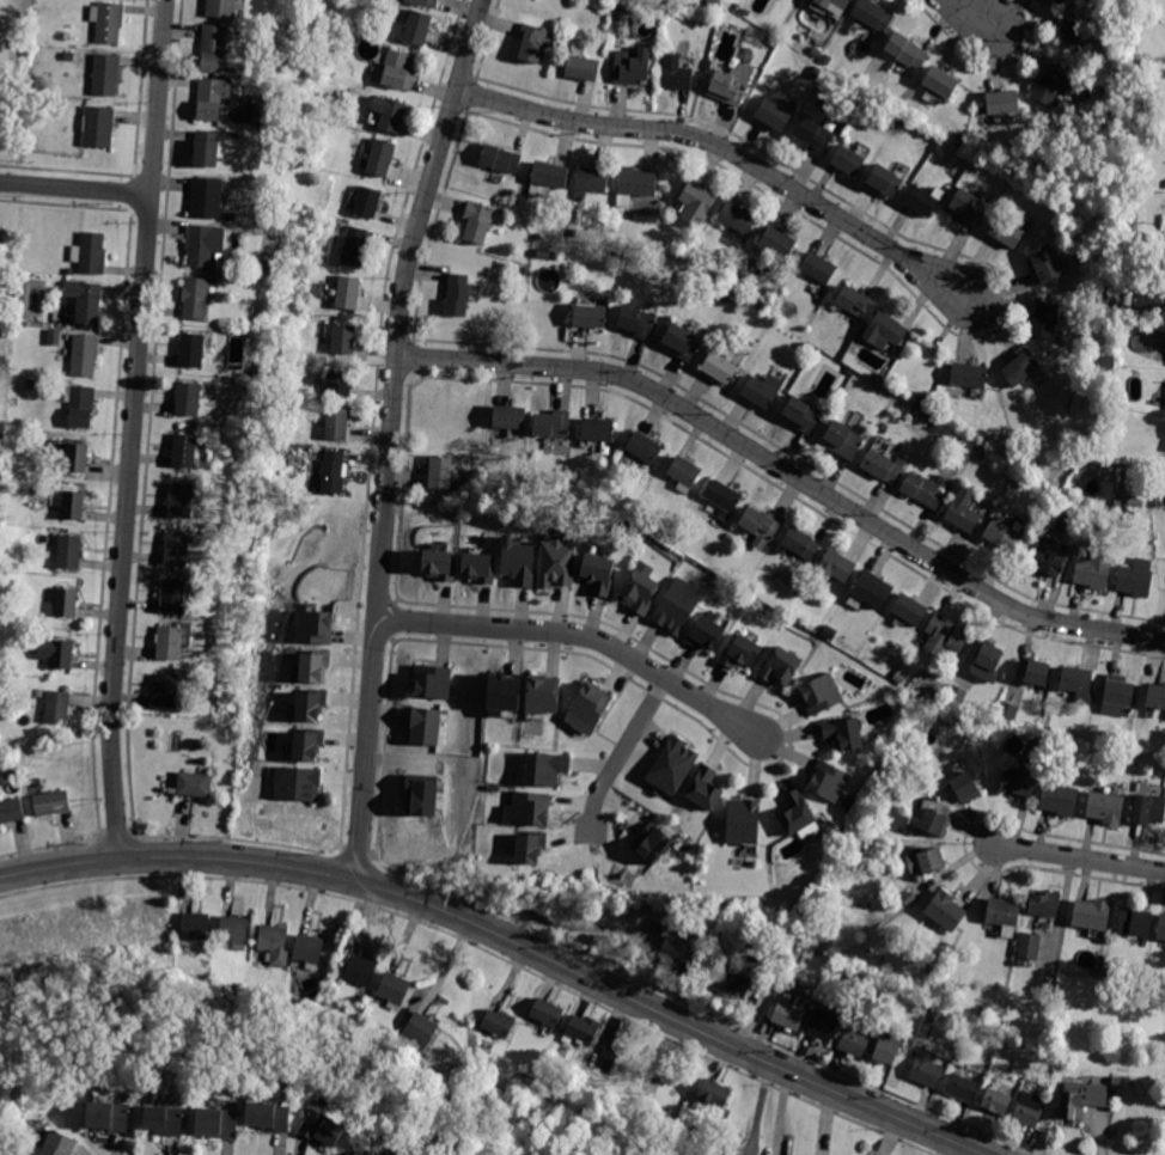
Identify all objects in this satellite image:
building: (1060, 1)
building: (426, 2)
building: (714, 2)
building: (834, 4)
building: (221, 8)
building: (657, 11)
road: (968, 12)
building: (873, 17)
building: (110, 22)
building: (706, 22)
building: (417, 29)
building: (1071, 35)
building: (532, 43)
building: (338, 48)
building: (213, 49)
building: (905, 50)
building: (816, 51)
building: (745, 55)
building: (77, 57)
building: (827, 59)
building: (633, 67)
building: (582, 68)
building: (396, 71)
building: (106, 74)
building: (676, 74)
building: (940, 81)
building: (731, 84)
building: (1050, 84)
building: (1118, 97)
building: (212, 98)
building: (1002, 103)
building: (60, 108)
building: (12, 111)
building: (392, 115)
building: (774, 115)
building: (98, 127)
building: (815, 136)
building: (211, 149)
road: (728, 149)
building: (380, 158)
building: (500, 159)
building: (848, 160)
building: (550, 175)
building: (885, 181)
building: (590, 182)
building: (635, 185)
road: (74, 189)
building: (206, 198)
building: (367, 202)
building: (922, 202)
building: (696, 203)
building: (970, 207)
building: (231, 216)
building: (738, 218)
building: (477, 221)
building: (1133, 226)
building: (1007, 230)
building: (573, 234)
building: (538, 237)
building: (777, 244)
building: (206, 246)
building: (354, 246)
building: (91, 253)
building: (541, 253)
building: (682, 256)
building: (1044, 264)
building: (819, 267)
building: (243, 270)
building: (266, 270)
building: (525, 270)
building: (69, 271)
building: (721, 279)
building: (348, 292)
building: (458, 295)
building: (195, 298)
building: (1127, 299)
building: (725, 300)
building: (853, 300)
building: (86, 301)
building: (738, 307)
building: (590, 316)
building: (1044, 319)
building: (638, 322)
building: (4, 328)
building: (885, 329)
building: (343, 340)
building: (683, 341)
building: (807, 348)
building: (193, 350)
building: (85, 354)
building: (923, 360)
building: (1020, 366)
building: (719, 367)
building: (257, 374)
building: (969, 375)
building: (340, 381)
building: (32, 384)
building: (763, 390)
building: (188, 399)
building: (80, 405)
building: (803, 415)
building: (510, 417)
building: (336, 424)
building: (553, 424)
road: (132, 428)
building: (598, 430)
road: (390, 434)
building: (844, 439)
building: (1, 440)
building: (644, 447)
building: (184, 451)
building: (982, 456)
building: (78, 458)
building: (964, 459)
building: (1018, 464)
building: (882, 466)
building: (1036, 469)
building: (333, 472)
road: (787, 472)
building: (440, 473)
building: (684, 473)
building: (1023, 482)
building: (922, 490)
building: (724, 497)
building: (181, 501)
building: (1136, 501)
building: (1118, 502)
building: (74, 506)
building: (963, 511)
building: (762, 526)
building: (730, 537)
building: (1002, 537)
building: (801, 543)
building: (177, 549)
building: (69, 552)
building: (1048, 557)
building: (518, 561)
building: (437, 562)
building: (556, 562)
building: (477, 566)
building: (835, 568)
building: (1094, 569)
building: (597, 573)
building: (1136, 577)
building: (797, 582)
building: (640, 589)
building: (871, 589)
building: (176, 597)
building: (66, 603)
building: (678, 606)
building: (910, 610)
building: (315, 627)
building: (706, 630)
building: (945, 635)
road: (581, 636)
building: (170, 643)
building: (740, 650)
building: (57, 653)
building: (987, 662)
building: (313, 666)
building: (781, 667)
building: (1037, 673)
building: (898, 677)
building: (433, 682)
building: (1078, 683)
building: (166, 691)
building: (41, 693)
building: (502, 693)
building: (821, 695)
building: (956, 696)
building: (542, 697)
building: (1117, 697)
building: (1155, 697)
building: (307, 705)
building: (591, 705)
building: (57, 707)
building: (1007, 713)
building: (969, 725)
building: (425, 726)
building: (986, 726)
building: (844, 734)
building: (306, 742)
building: (1123, 744)
road: (622, 757)
building: (673, 766)
building: (545, 770)
building: (829, 781)
building: (1018, 782)
building: (298, 783)
building: (195, 784)
building: (964, 786)
building: (705, 789)
building: (421, 794)
building: (1060, 800)
building: (53, 802)
building: (1105, 807)
building: (527, 808)
building: (1148, 809)
building: (11, 811)
building: (797, 814)
building: (744, 823)
building: (933, 823)
road: (114, 830)
road: (128, 830)
road: (100, 831)
road: (233, 837)
building: (652, 842)
road: (338, 844)
road: (50, 845)
building: (529, 845)
road: (353, 850)
road: (370, 851)
road: (1080, 857)
building: (925, 861)
building: (909, 898)
building: (1044, 904)
building: (945, 911)
building: (1005, 911)
building: (1091, 913)
building: (1134, 923)
building: (196, 928)
building: (658, 928)
building: (1161, 928)
building: (234, 931)
road: (506, 937)
building: (1112, 937)
building: (274, 943)
building: (786, 945)
building: (1030, 946)
road: (482, 948)
building: (309, 951)
building: (678, 954)
building: (797, 955)
building: (1111, 970)
building: (360, 972)
building: (1053, 978)
building: (733, 980)
building: (394, 990)
building: (926, 1008)
road: (699, 1009)
building: (983, 1009)
building: (547, 1013)
building: (933, 1014)
building: (788, 1016)
building: (498, 1023)
building: (823, 1025)
building: (584, 1028)
building: (419, 1032)
building: (855, 1043)
building: (888, 1049)
building: (48, 1056)
building: (926, 1070)
building: (209, 1083)
building: (962, 1088)
building: (714, 1093)
building: (1081, 1099)
building: (996, 1101)
building: (1029, 1110)
building: (269, 1116)
building: (108, 1117)
building: (164, 1120)
building: (216, 1123)
building: (322, 1129)
building: (59, 1144)
building: (362, 1154)

